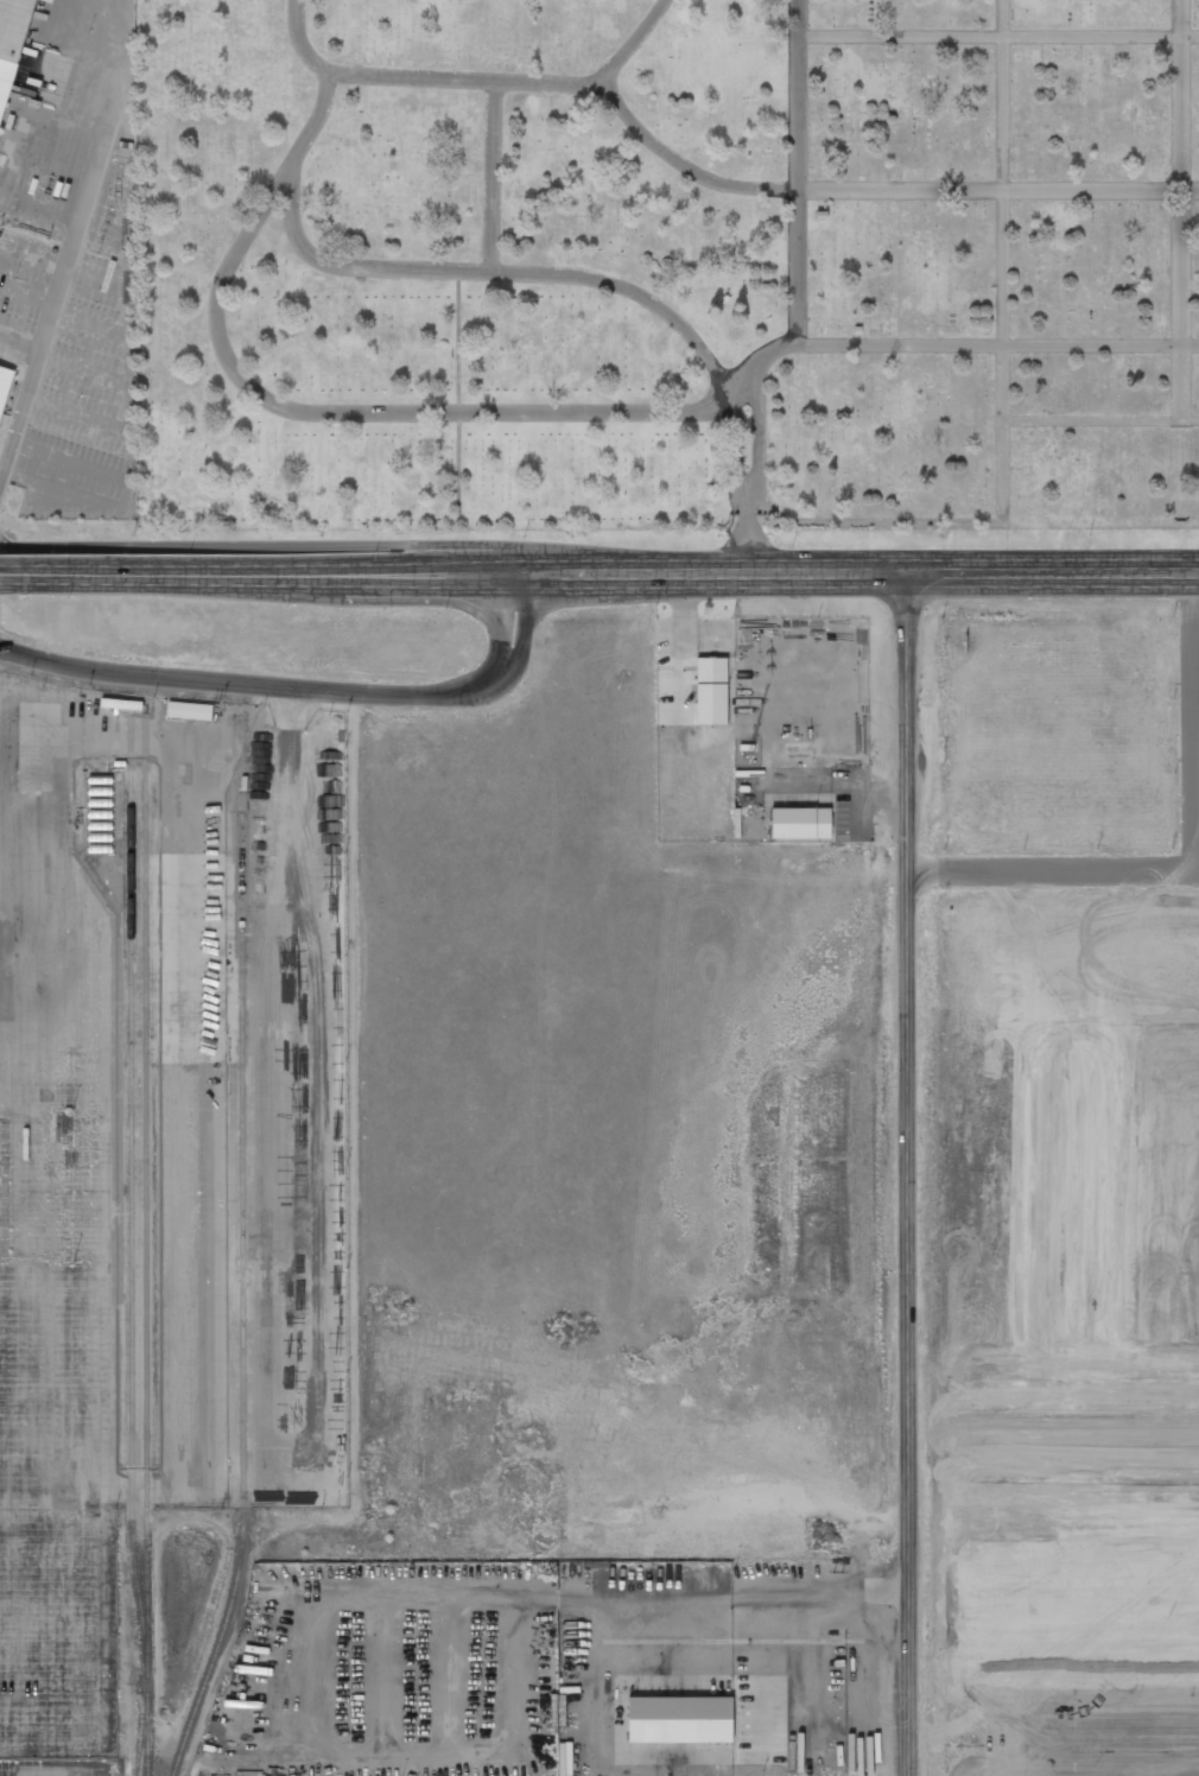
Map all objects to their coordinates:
building: (9, 43)
park: (668, 261)
road: (61, 281)
building: (4, 386)
road: (613, 570)
road: (13, 573)
road: (306, 687)
building: (710, 692)
building: (190, 712)
building: (795, 748)
building: (799, 825)
road: (1193, 863)
road: (908, 1174)
railway: (131, 1216)
railway: (145, 1275)
railway: (243, 1289)
building: (680, 1720)
railway: (142, 1739)
building: (565, 1758)
airport: (1070, 1762)

